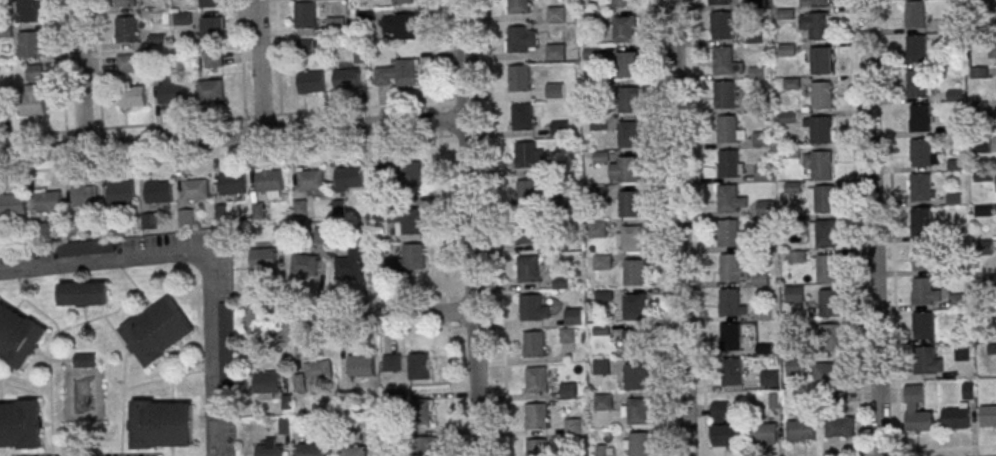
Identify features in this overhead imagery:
building: (402, 1)
building: (719, 2)
building: (819, 2)
building: (124, 3)
building: (208, 3)
building: (621, 3)
building: (518, 6)
building: (26, 11)
building: (305, 15)
building: (555, 15)
building: (914, 15)
building: (334, 25)
building: (815, 25)
building: (399, 26)
building: (721, 26)
building: (126, 29)
building: (210, 29)
building: (622, 30)
building: (518, 39)
building: (28, 45)
building: (305, 46)
building: (916, 49)
road: (434, 52)
building: (555, 52)
building: (993, 54)
road: (276, 57)
building: (211, 59)
road: (240, 59)
building: (722, 60)
building: (820, 61)
building: (127, 63)
road: (98, 65)
building: (625, 65)
road: (61, 66)
road: (258, 67)
building: (33, 72)
building: (398, 73)
road: (79, 75)
building: (519, 78)
building: (347, 79)
building: (310, 83)
building: (916, 84)
building: (171, 90)
building: (209, 90)
building: (554, 91)
building: (724, 95)
building: (820, 96)
building: (131, 97)
building: (628, 100)
building: (30, 103)
building: (0, 113)
building: (522, 117)
building: (920, 118)
road: (121, 128)
building: (559, 129)
building: (726, 130)
building: (819, 130)
building: (627, 135)
road: (231, 136)
building: (760, 139)
road: (333, 148)
building: (921, 154)
building: (526, 156)
building: (727, 164)
building: (820, 165)
building: (559, 169)
building: (627, 169)
building: (762, 173)
building: (410, 174)
building: (347, 178)
building: (268, 181)
building: (310, 181)
building: (232, 184)
building: (920, 188)
building: (194, 190)
building: (119, 192)
building: (157, 192)
building: (527, 193)
building: (598, 195)
building: (82, 196)
building: (727, 199)
building: (823, 199)
building: (47, 202)
building: (628, 204)
building: (12, 205)
building: (299, 208)
building: (337, 208)
building: (256, 211)
building: (220, 213)
building: (185, 219)
building: (408, 221)
building: (922, 221)
building: (148, 222)
building: (111, 223)
road: (890, 226)
building: (73, 227)
road: (468, 228)
road: (496, 228)
road: (661, 228)
road: (679, 228)
road: (698, 228)
road: (854, 228)
road: (871, 228)
building: (527, 230)
building: (596, 230)
building: (38, 232)
building: (728, 234)
building: (824, 234)
building: (323, 235)
building: (631, 239)
road: (213, 241)
building: (558, 244)
building: (796, 257)
building: (922, 257)
building: (262, 258)
building: (406, 259)
building: (601, 263)
building: (304, 264)
building: (352, 265)
building: (527, 269)
building: (732, 269)
building: (826, 269)
building: (633, 273)
building: (921, 291)
building: (82, 293)
building: (794, 294)
road: (446, 297)
building: (957, 301)
building: (728, 302)
building: (829, 303)
building: (633, 307)
building: (530, 308)
road: (371, 315)
building: (573, 316)
building: (922, 326)
building: (157, 331)
building: (567, 336)
building: (17, 337)
building: (730, 337)
building: (830, 338)
building: (633, 343)
building: (226, 344)
building: (533, 344)
building: (962, 352)
building: (83, 360)
building: (922, 361)
building: (391, 363)
building: (360, 365)
building: (418, 366)
building: (795, 366)
building: (601, 367)
building: (319, 370)
building: (731, 372)
building: (826, 373)
building: (633, 377)
building: (769, 378)
building: (536, 381)
building: (266, 384)
building: (568, 391)
building: (968, 392)
building: (602, 403)
building: (916, 410)
building: (422, 411)
building: (637, 412)
building: (988, 415)
building: (536, 416)
building: (955, 417)
building: (20, 424)
building: (160, 424)
building: (572, 427)
building: (801, 427)
building: (840, 427)
building: (724, 428)
building: (765, 434)
building: (639, 444)
building: (424, 446)
building: (268, 447)
building: (537, 447)
building: (309, 449)
building: (353, 450)
building: (601, 450)
road: (928, 450)
building: (577, 454)

